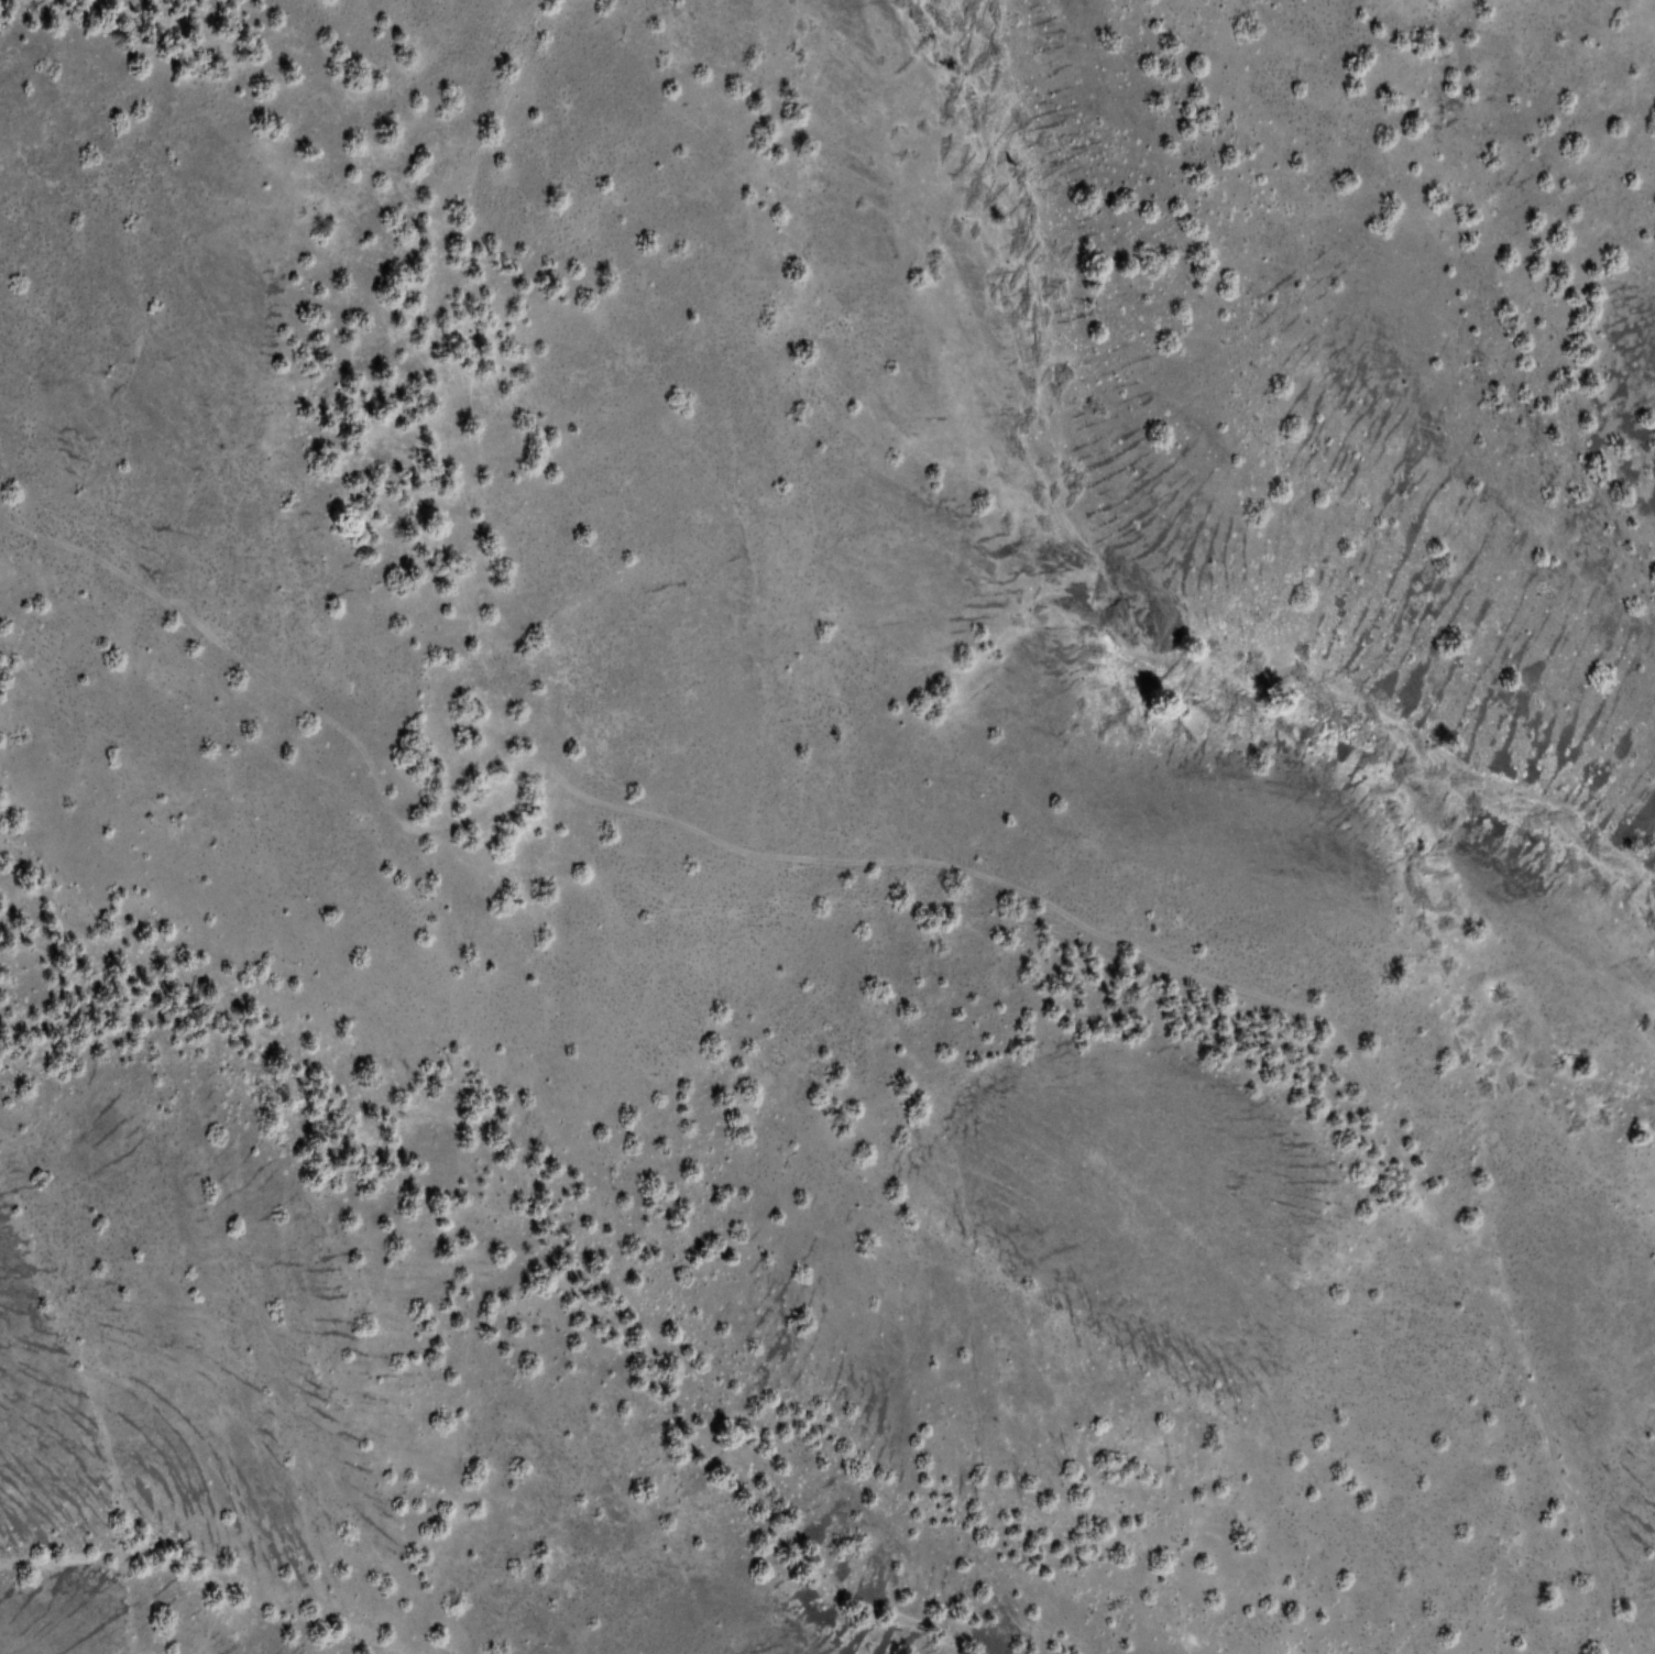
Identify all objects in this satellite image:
road: (954, 866)

